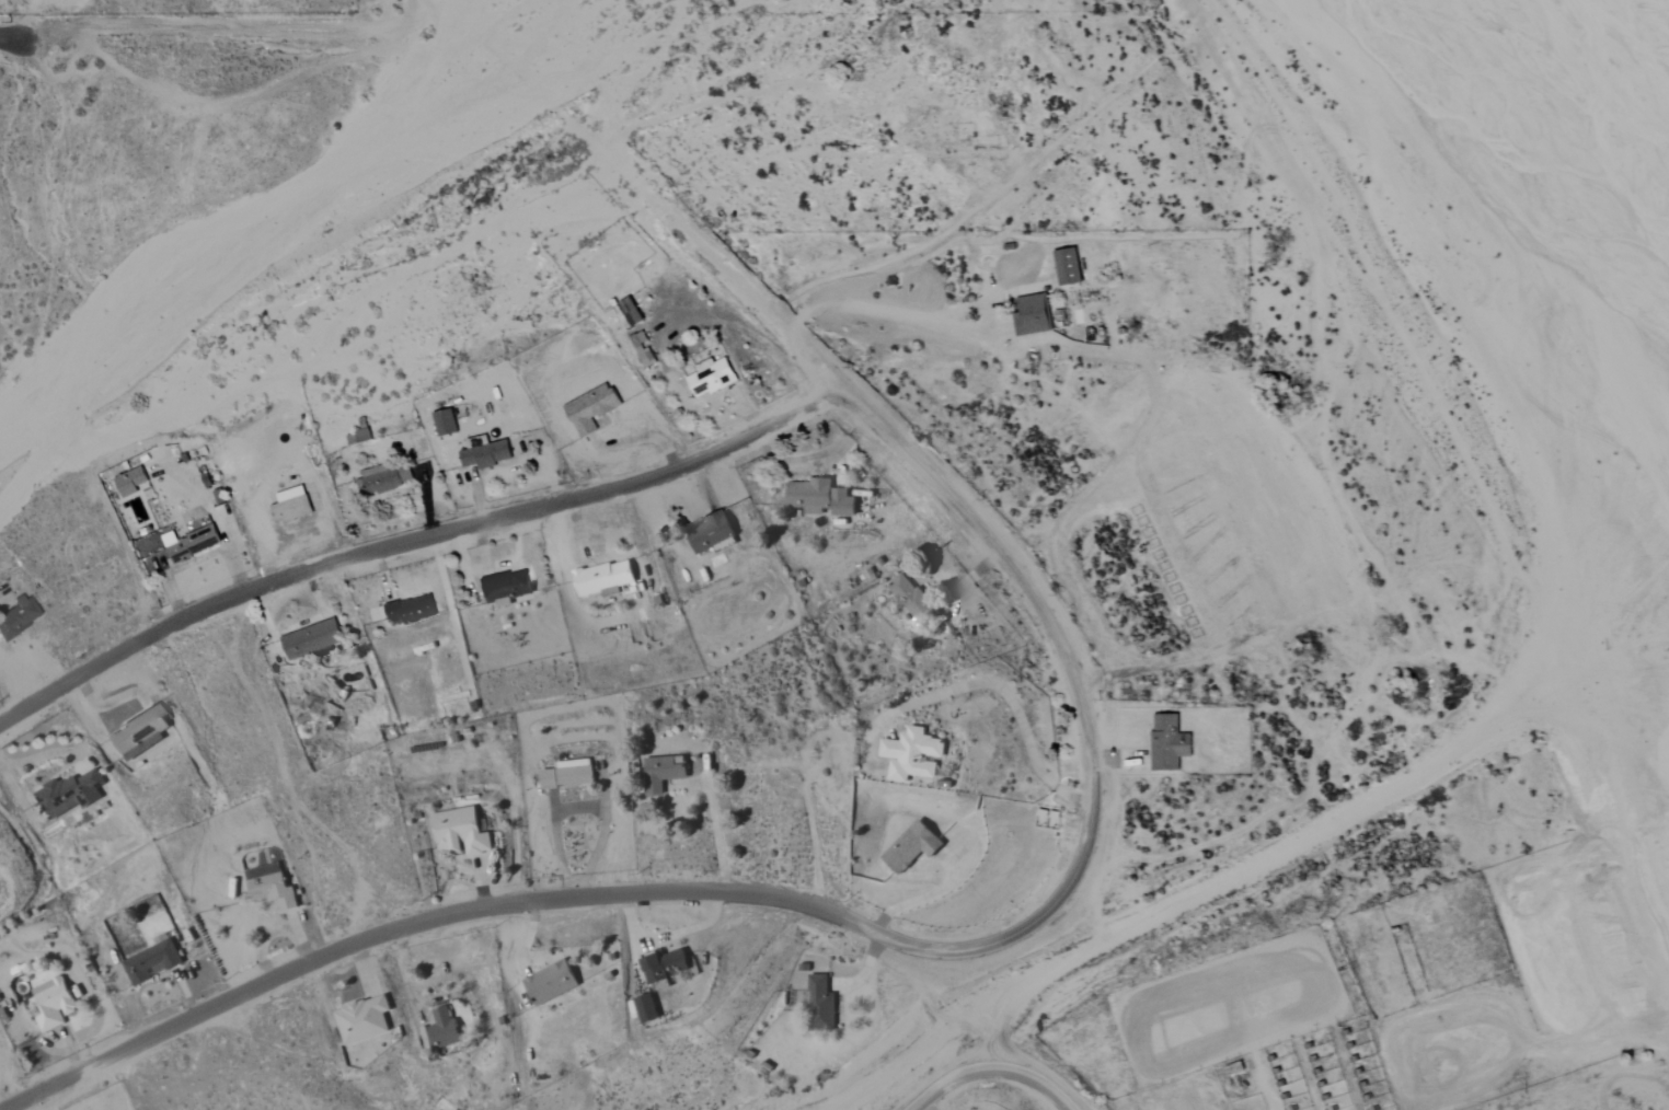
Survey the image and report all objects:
road: (8, 38)
road: (559, 53)
river: (1611, 70)
park: (923, 116)
building: (1069, 266)
road: (726, 277)
road: (872, 310)
building: (629, 313)
building: (1032, 314)
building: (638, 338)
building: (645, 356)
building: (711, 378)
building: (592, 408)
building: (446, 423)
building: (359, 433)
building: (486, 452)
building: (383, 477)
building: (131, 482)
building: (820, 498)
building: (290, 509)
park: (1113, 509)
road: (215, 517)
building: (712, 534)
building: (191, 543)
road: (412, 543)
road: (171, 570)
building: (603, 578)
building: (506, 588)
building: (912, 600)
building: (411, 610)
building: (16, 616)
building: (312, 638)
road: (1063, 659)
road: (1008, 698)
building: (139, 733)
building: (1170, 743)
building: (912, 754)
building: (665, 770)
building: (569, 775)
building: (71, 793)
road: (579, 807)
building: (461, 832)
road: (714, 837)
building: (912, 847)
building: (272, 887)
road: (474, 911)
building: (152, 962)
building: (666, 969)
building: (551, 983)
building: (54, 1004)
building: (821, 1004)
building: (646, 1009)
building: (362, 1020)
building: (445, 1029)
road: (948, 1080)
road: (1035, 1080)

